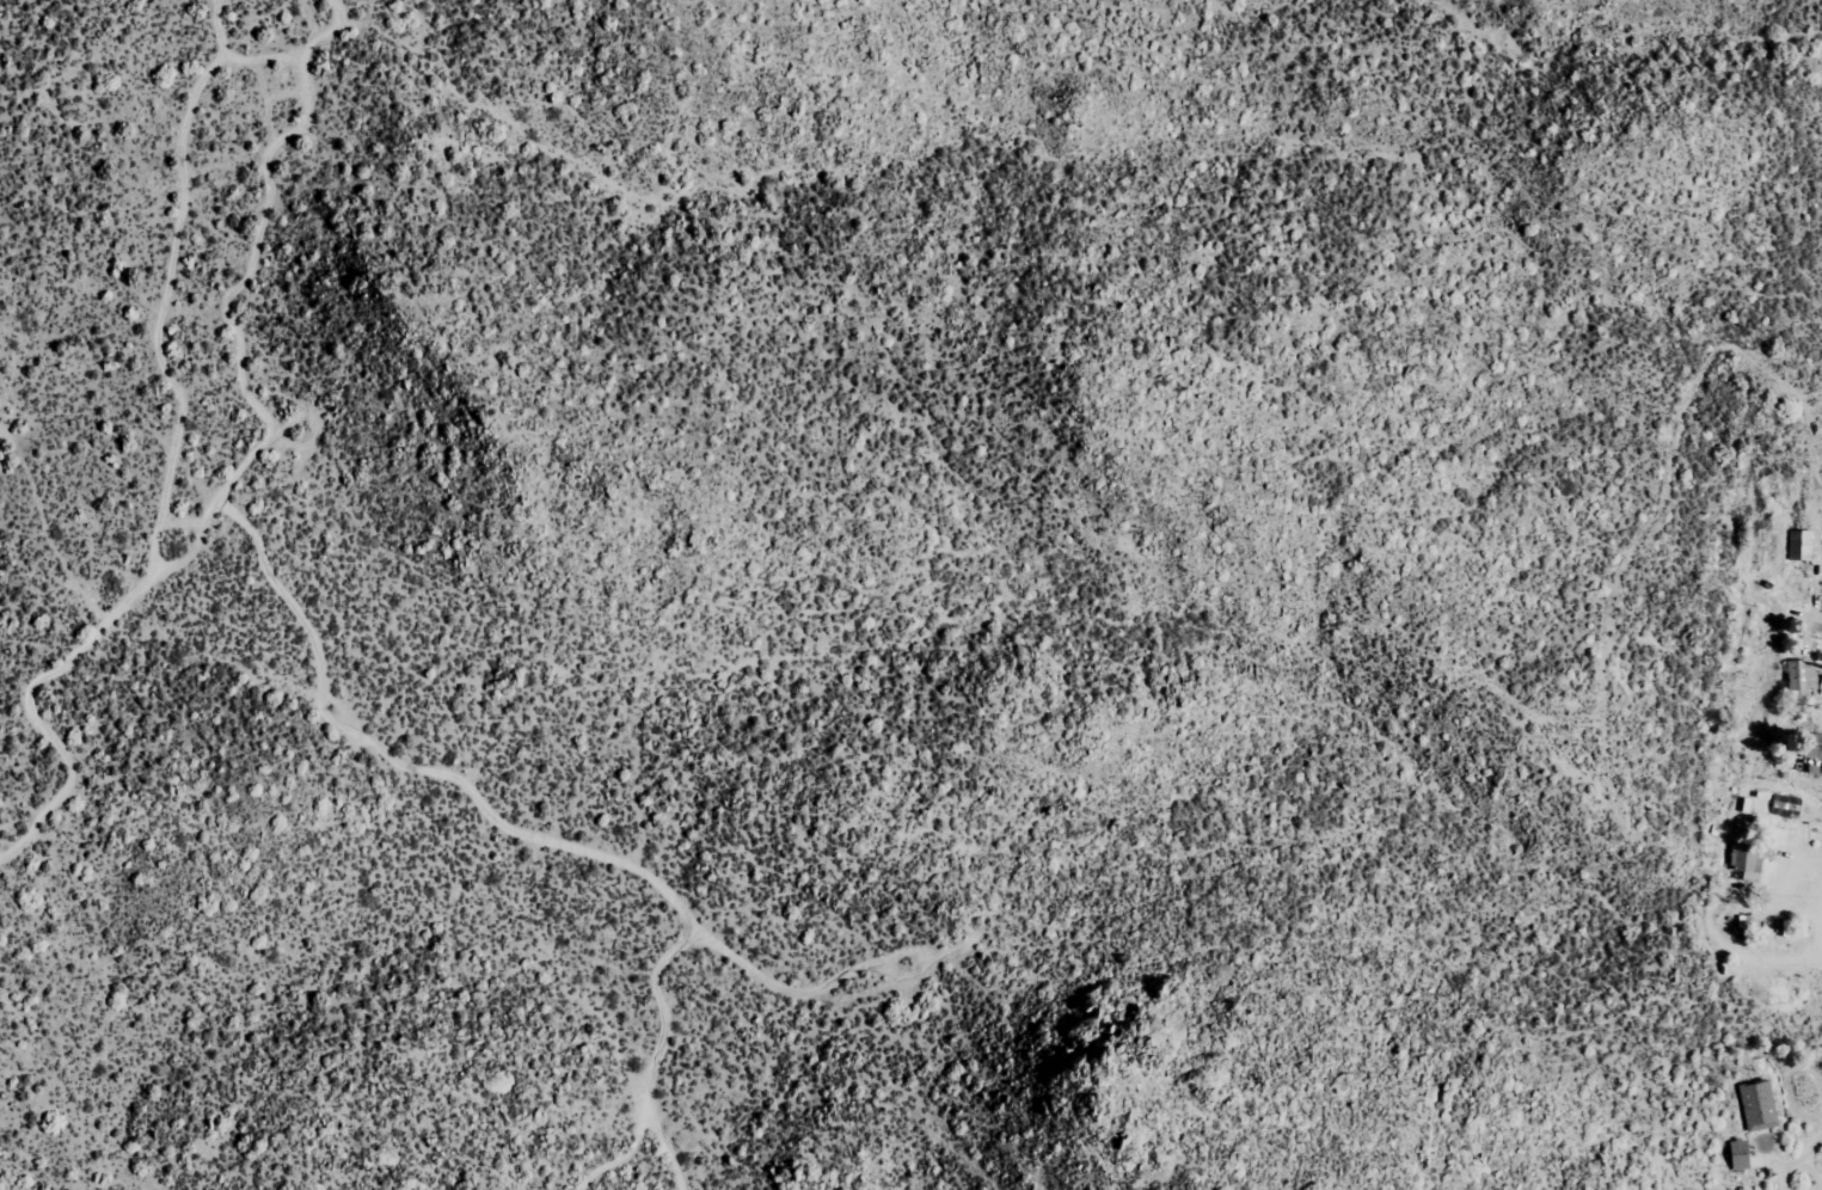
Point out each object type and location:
road: (1691, 69)
building: (1800, 544)
building: (1803, 677)
building: (1748, 860)
road: (1769, 1074)
building: (1759, 1105)
building: (1741, 1153)

